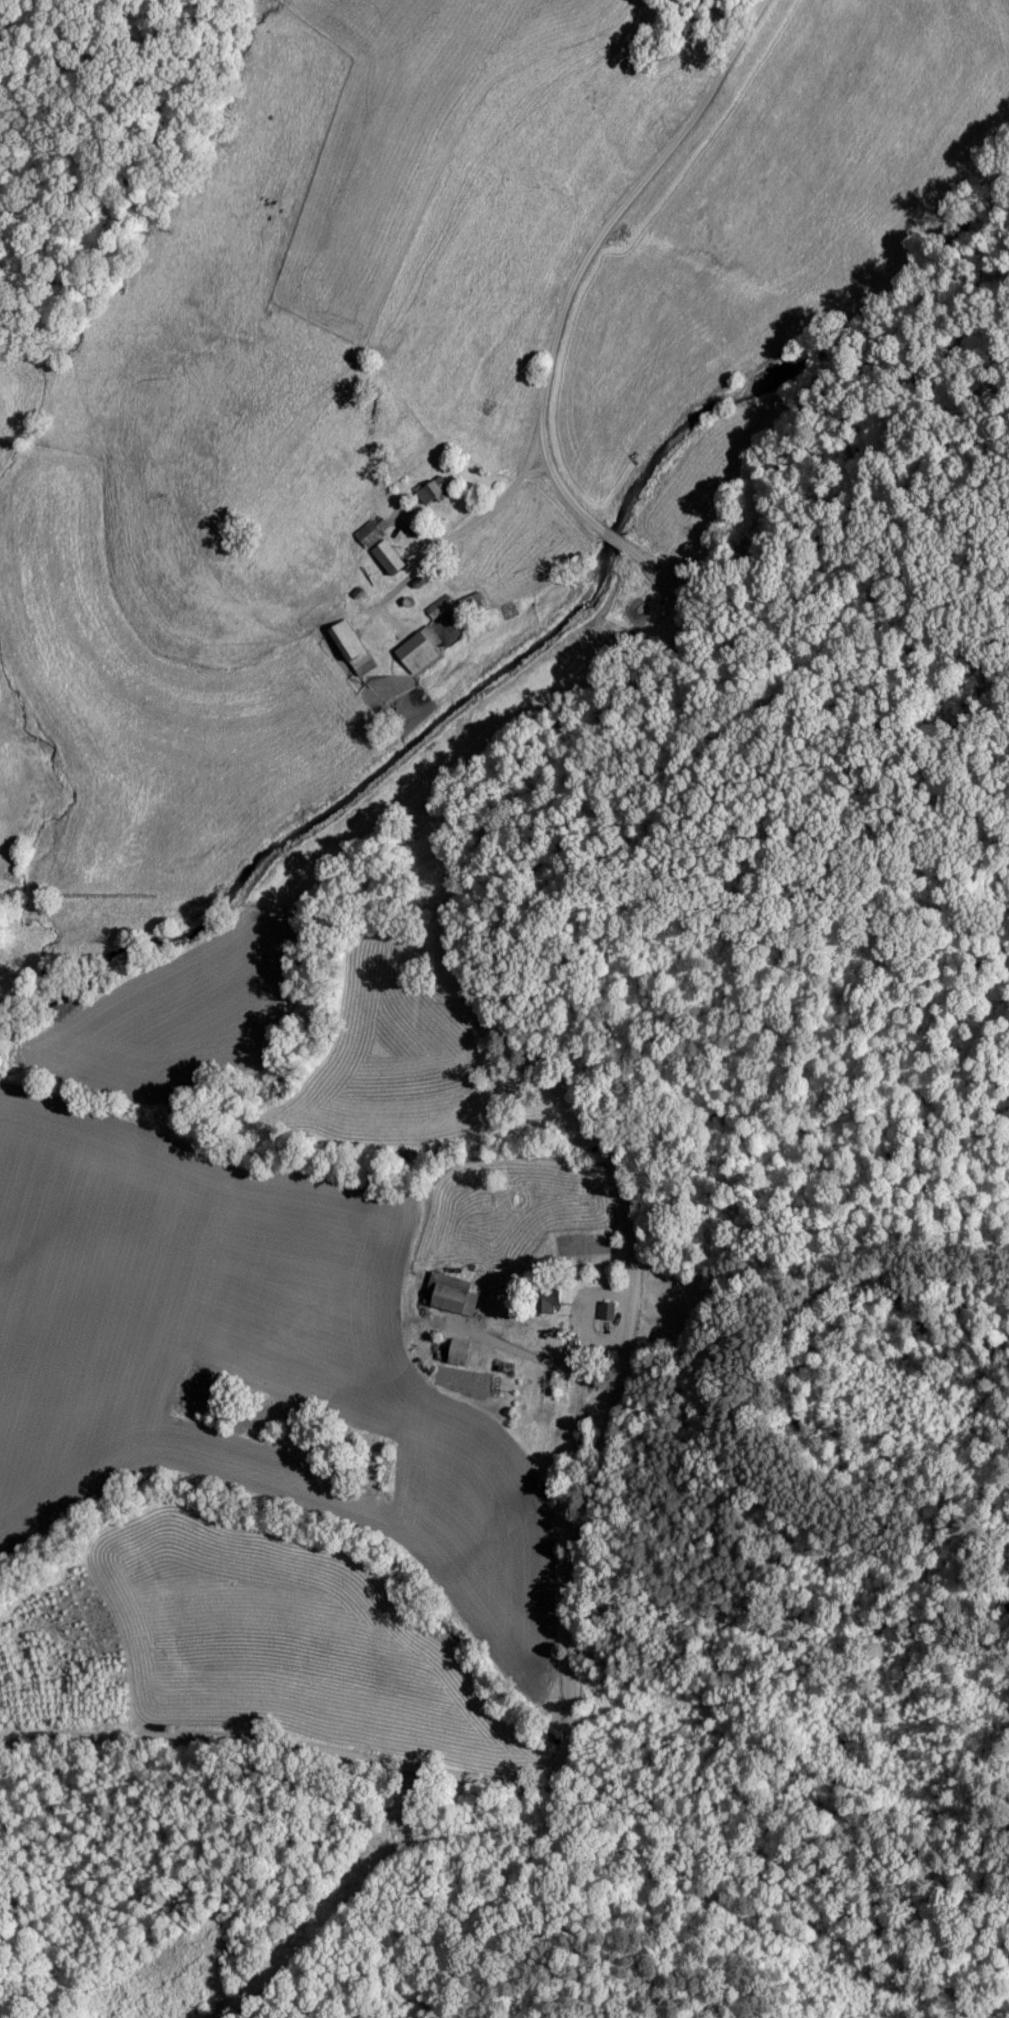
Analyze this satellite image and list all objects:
road: (576, 273)
road: (539, 476)
building: (435, 489)
road: (469, 530)
building: (368, 533)
building: (388, 557)
building: (438, 606)
building: (352, 647)
building: (418, 650)
road: (487, 837)
road: (630, 1232)
building: (449, 1293)
building: (549, 1300)
building: (607, 1310)
building: (458, 1351)
road: (498, 1782)

